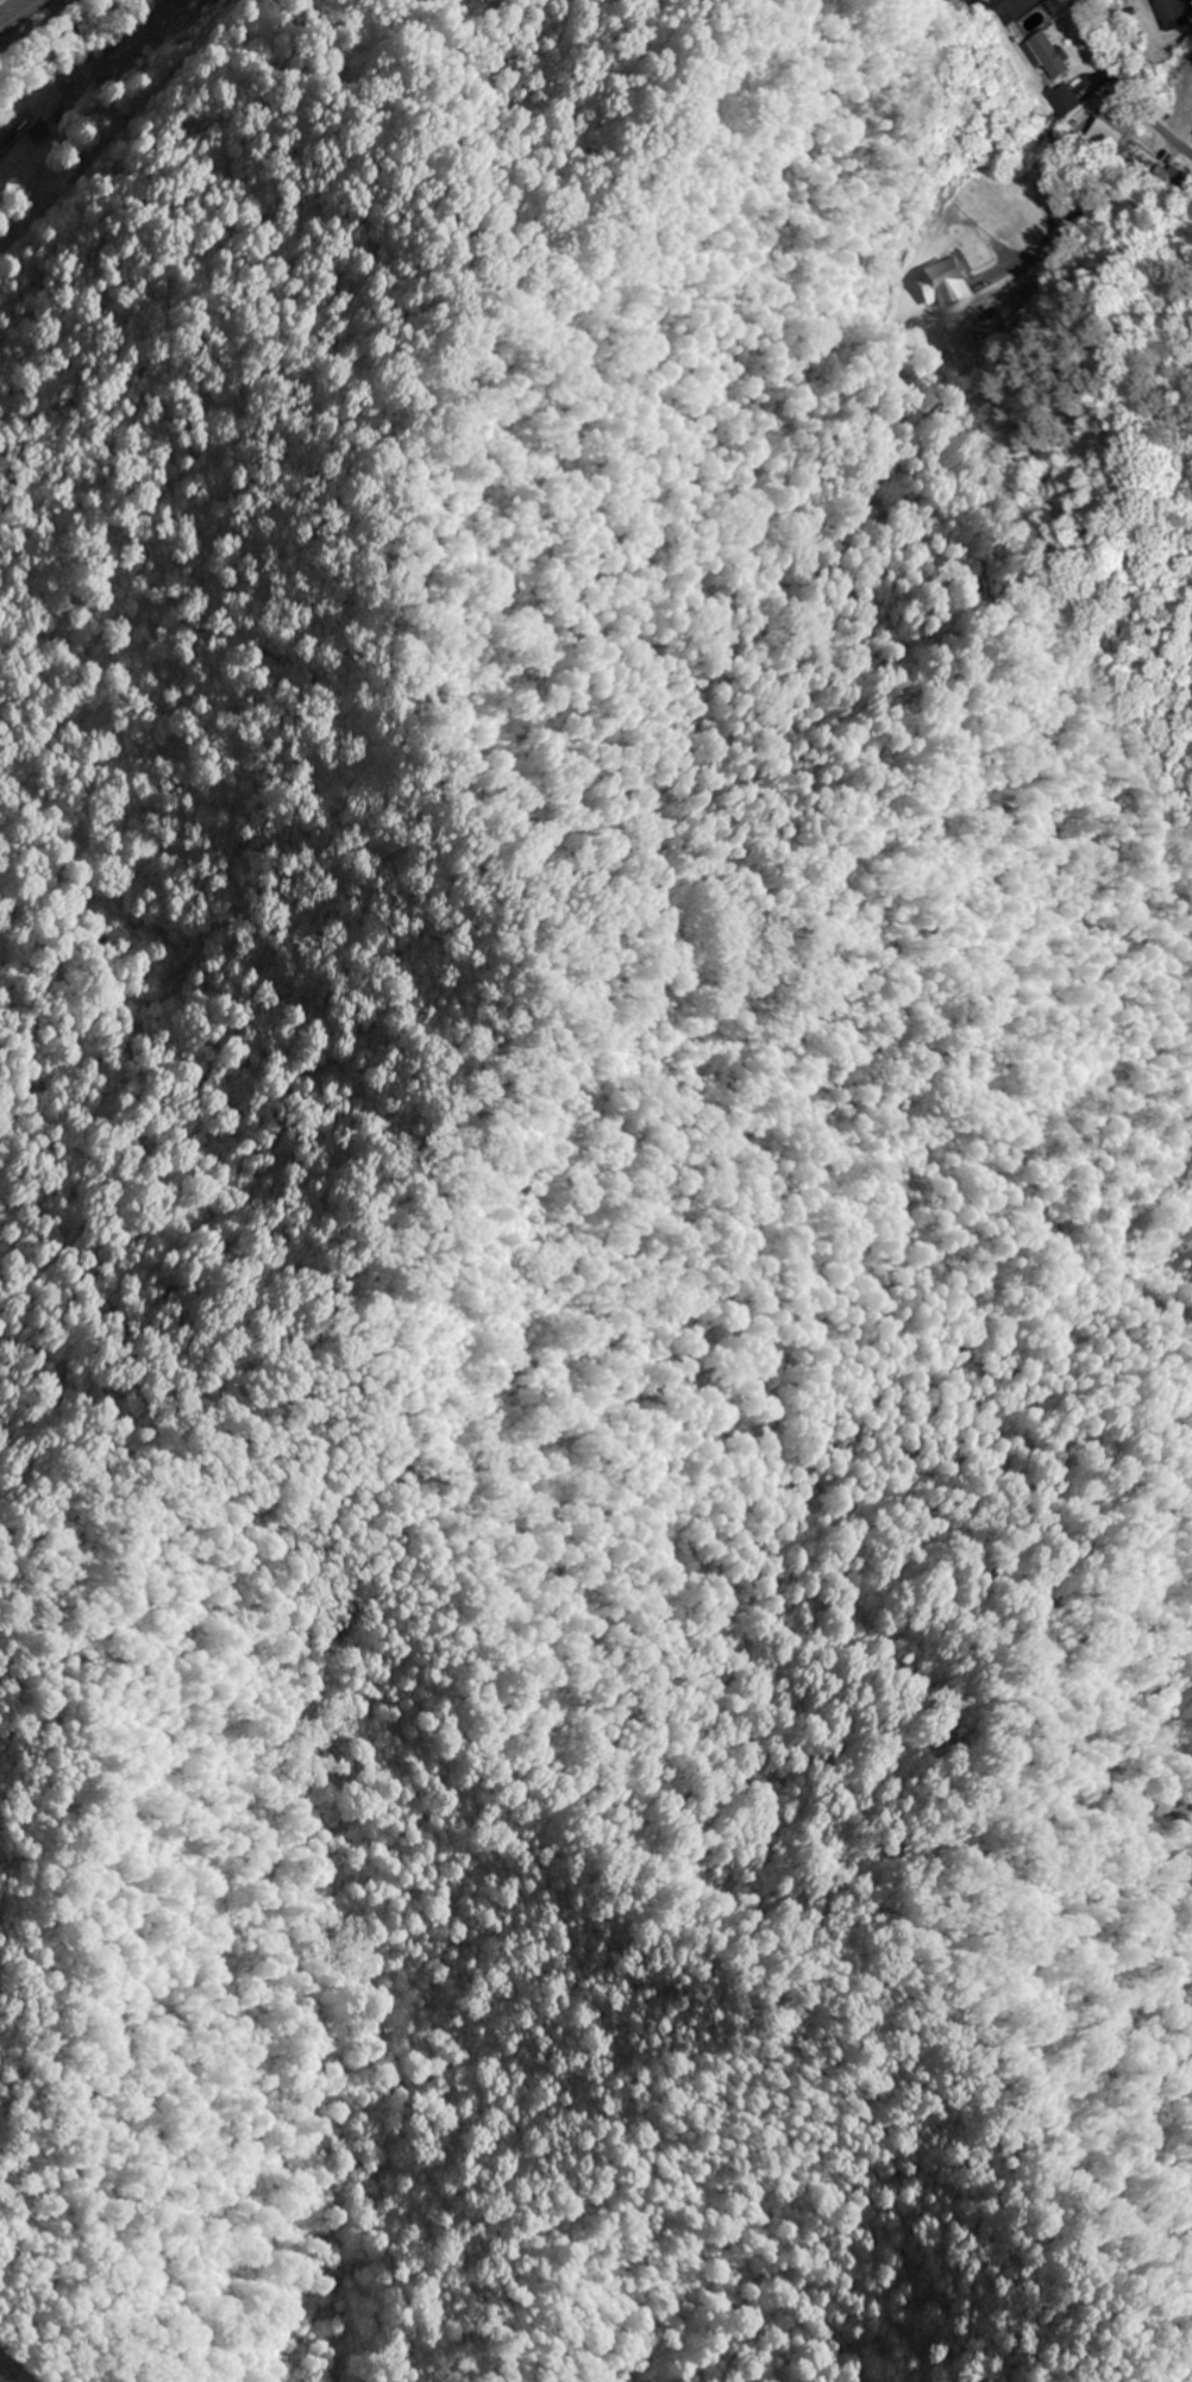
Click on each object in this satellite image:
road: (19, 12)
building: (1166, 14)
road: (1116, 89)
road: (5, 131)
building: (39, 132)
building: (1167, 177)
building: (946, 280)

